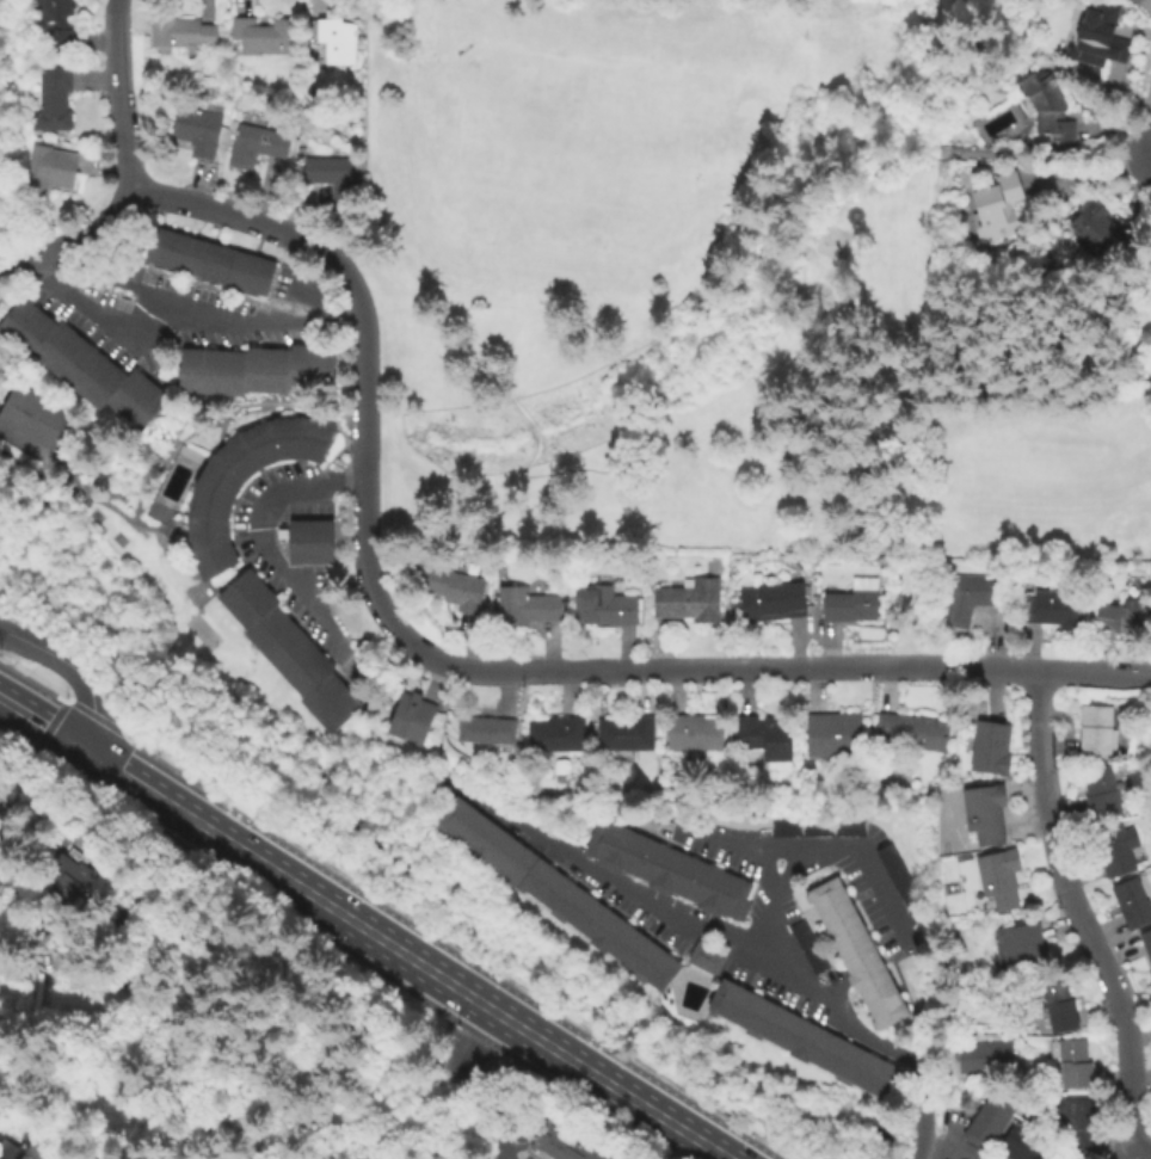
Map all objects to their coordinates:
building: (1134, 2)
building: (55, 10)
road: (858, 21)
building: (183, 32)
building: (266, 35)
building: (1096, 37)
building: (336, 38)
building: (57, 39)
road: (855, 85)
road: (118, 94)
building: (51, 97)
road: (890, 100)
building: (1046, 110)
building: (195, 132)
park: (578, 136)
road: (1116, 136)
road: (901, 137)
road: (921, 146)
building: (254, 147)
road: (1045, 155)
building: (45, 173)
road: (1091, 178)
building: (331, 179)
road: (1139, 179)
building: (995, 209)
road: (259, 224)
building: (1096, 230)
road: (74, 243)
building: (207, 259)
park: (719, 300)
road: (298, 302)
road: (647, 303)
road: (177, 310)
parking lot: (180, 314)
road: (278, 318)
road: (929, 345)
building: (80, 365)
building: (256, 369)
road: (235, 406)
building: (31, 414)
road: (21, 446)
road: (53, 469)
road: (365, 474)
road: (67, 481)
building: (209, 507)
road: (160, 530)
road: (261, 537)
building: (308, 541)
parking lot: (290, 571)
road: (312, 588)
building: (454, 590)
building: (968, 599)
building: (687, 602)
building: (770, 604)
building: (850, 604)
building: (524, 608)
building: (602, 608)
building: (1051, 611)
building: (1121, 621)
park: (199, 629)
building: (287, 649)
road: (990, 667)
road: (768, 668)
road: (75, 671)
road: (33, 682)
road: (93, 715)
building: (410, 719)
road: (38, 722)
road: (48, 727)
building: (484, 730)
building: (624, 733)
building: (690, 733)
building: (553, 734)
building: (1095, 734)
building: (911, 735)
building: (831, 736)
building: (763, 738)
traffic signals: (76, 746)
road: (142, 748)
building: (987, 748)
building: (559, 766)
road: (153, 794)
building: (1100, 794)
building: (981, 815)
building: (815, 828)
road: (738, 849)
building: (1113, 849)
road: (825, 851)
building: (666, 870)
road: (763, 874)
building: (67, 880)
building: (897, 880)
building: (997, 880)
building: (553, 894)
building: (1130, 904)
road: (1079, 913)
road: (20, 929)
road: (720, 942)
building: (1145, 944)
building: (806, 949)
building: (1018, 951)
road: (451, 953)
building: (855, 955)
building: (703, 960)
building: (1149, 976)
road: (476, 1001)
building: (1055, 1004)
street lamp: (463, 1027)
building: (805, 1041)
building: (985, 1059)
building: (1072, 1065)
road: (1126, 1079)
road: (470, 1085)
building: (989, 1121)
building: (1075, 1123)
road: (949, 1128)
street lamp: (761, 1135)
building: (560, 1143)
building: (1022, 1145)
building: (8, 1151)
road: (949, 1154)
road: (1144, 1154)
building: (85, 1157)

